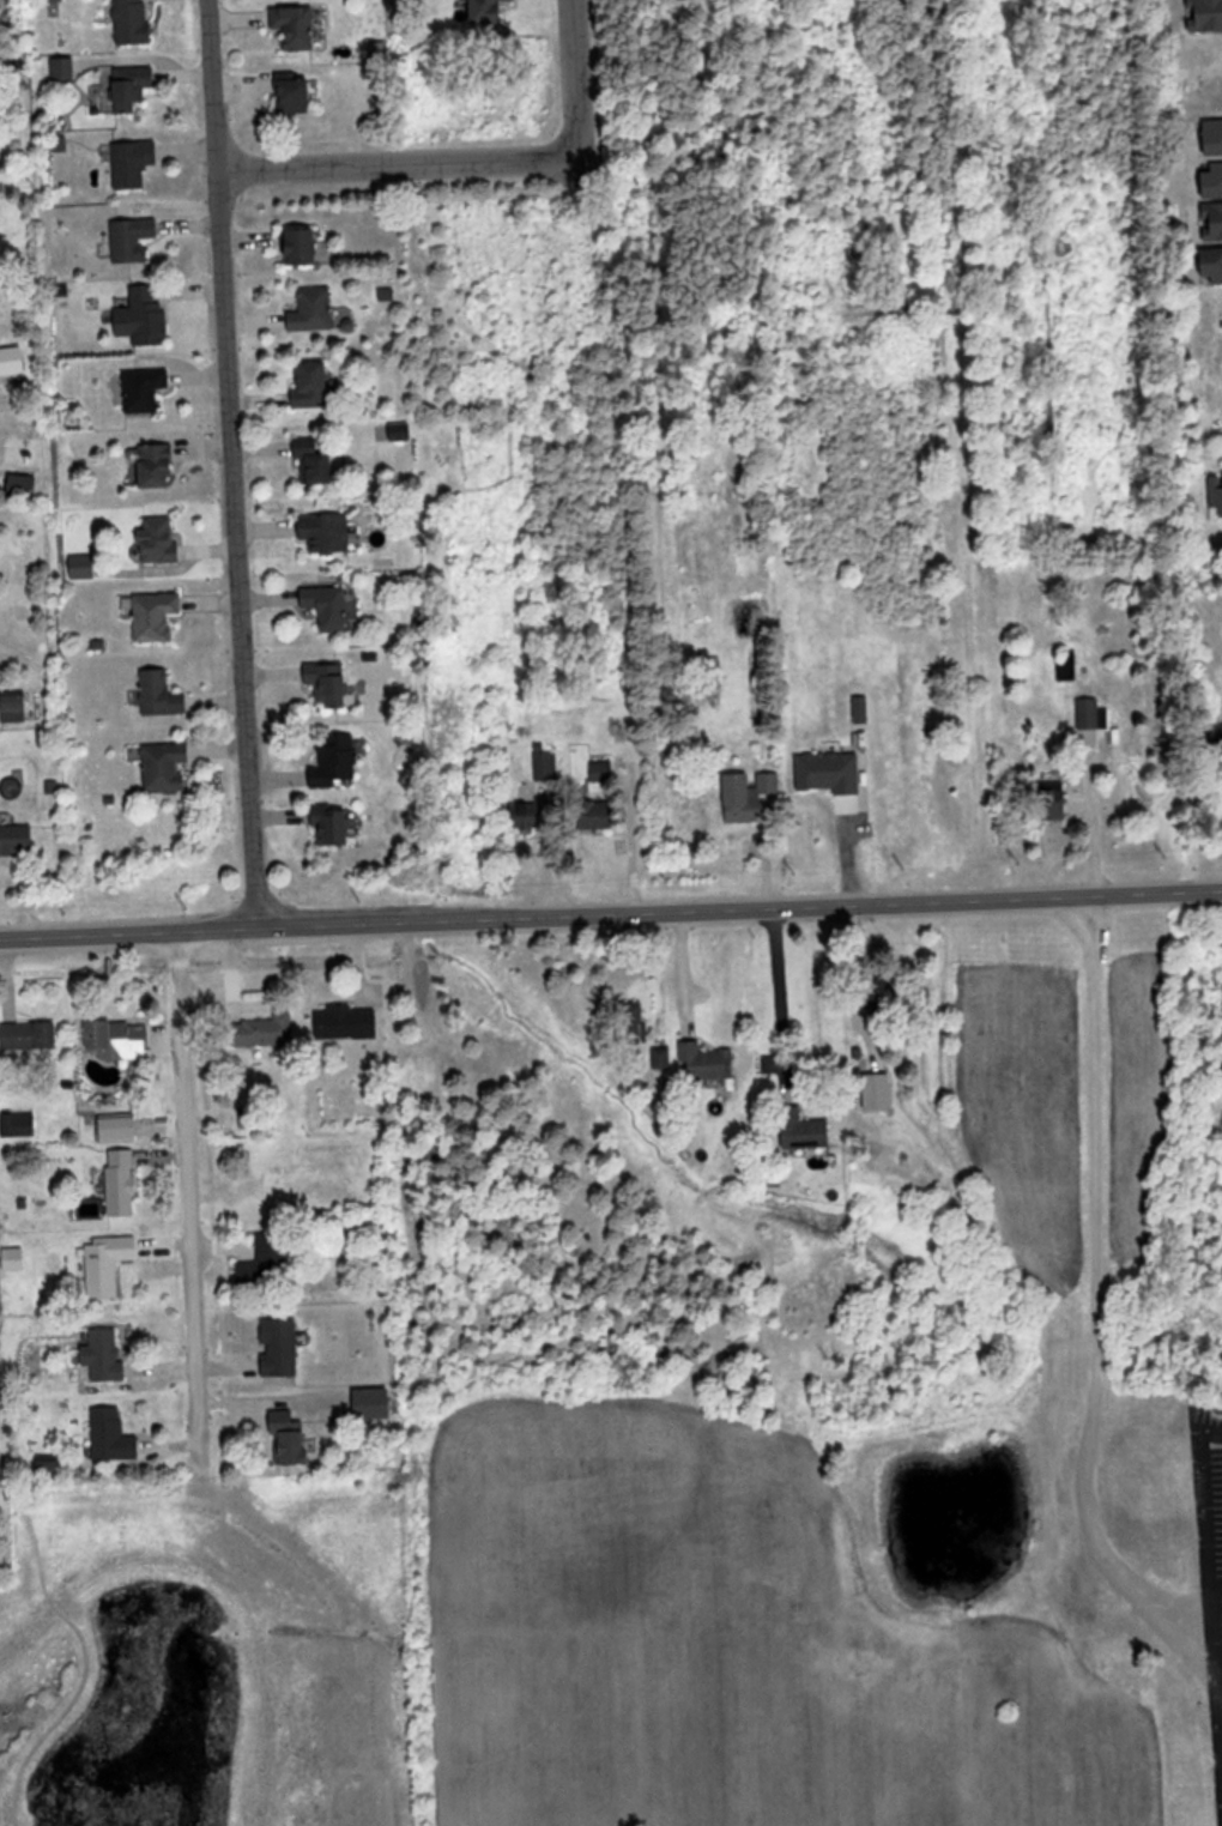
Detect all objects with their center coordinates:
building: (489, 11)
building: (132, 20)
building: (296, 24)
building: (62, 68)
building: (133, 85)
building: (296, 91)
building: (1215, 135)
road: (470, 159)
building: (134, 162)
building: (1215, 177)
building: (1214, 219)
building: (133, 237)
building: (303, 244)
building: (1215, 264)
building: (313, 308)
building: (144, 315)
building: (314, 383)
building: (145, 387)
building: (315, 460)
road: (231, 461)
building: (156, 462)
building: (24, 484)
building: (1217, 492)
building: (327, 532)
building: (162, 538)
building: (328, 605)
building: (156, 615)
building: (714, 664)
building: (329, 682)
building: (162, 693)
building: (16, 707)
building: (1088, 712)
building: (337, 761)
building: (546, 764)
building: (167, 766)
building: (600, 769)
building: (749, 793)
building: (599, 814)
building: (526, 815)
building: (334, 826)
building: (17, 839)
road: (611, 909)
building: (347, 1022)
building: (261, 1030)
building: (30, 1035)
building: (120, 1038)
building: (663, 1057)
building: (709, 1060)
building: (22, 1123)
building: (121, 1127)
building: (806, 1129)
building: (122, 1180)
road: (180, 1191)
building: (14, 1257)
building: (108, 1262)
building: (265, 1263)
building: (280, 1347)
building: (105, 1354)
building: (373, 1402)
building: (113, 1434)
building: (291, 1438)
building: (382, 1798)

